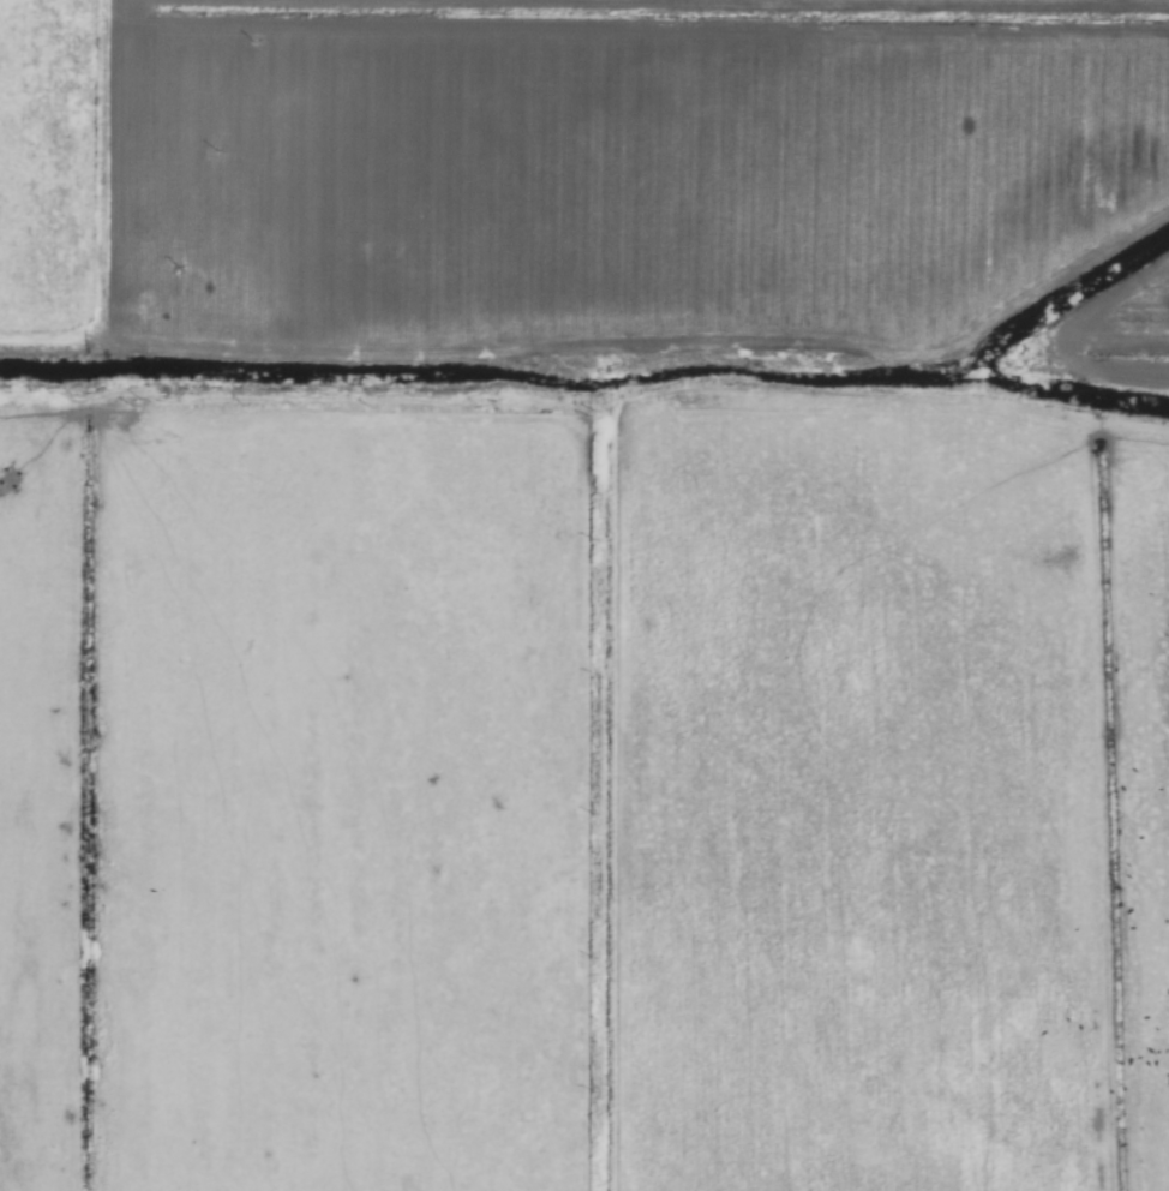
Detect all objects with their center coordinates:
crop: (584, 595)

